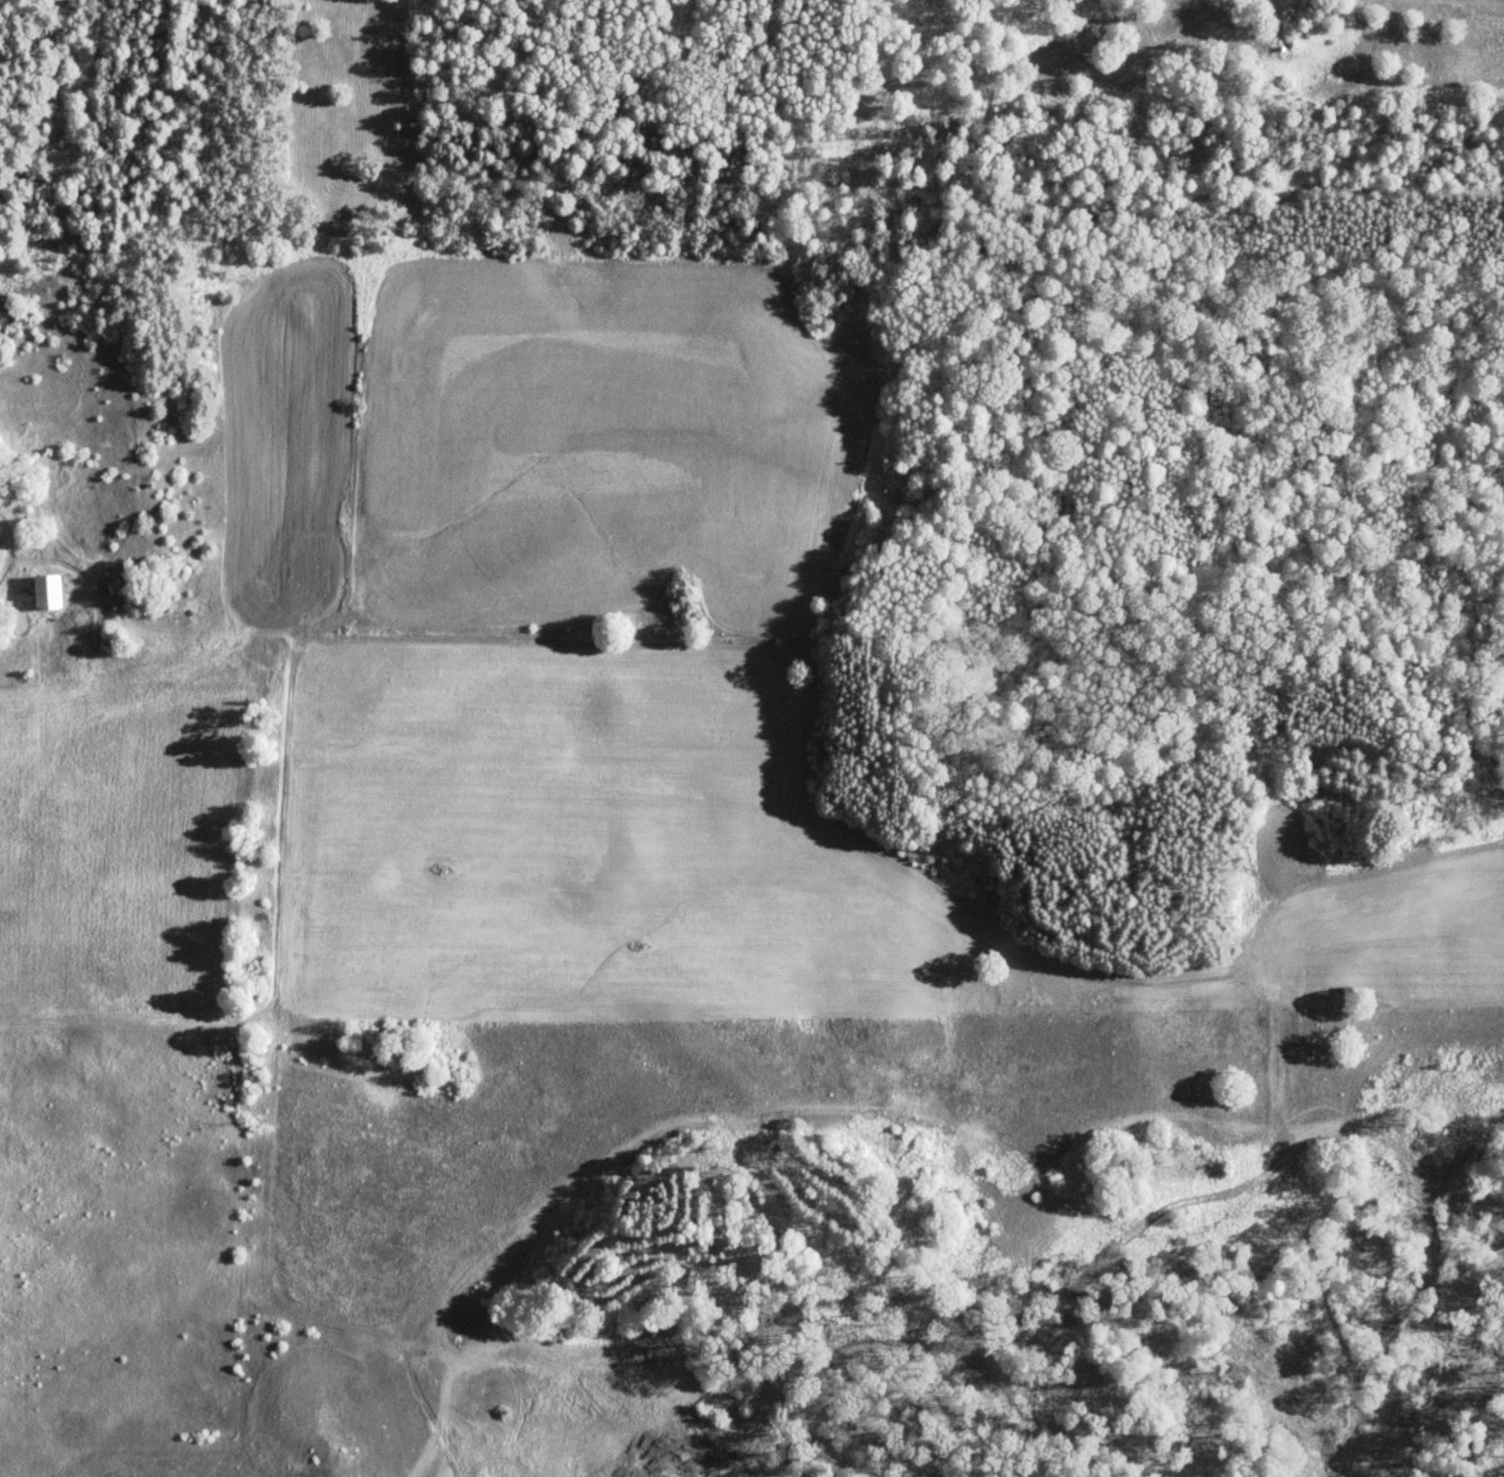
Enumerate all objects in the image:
building: (39, 593)

